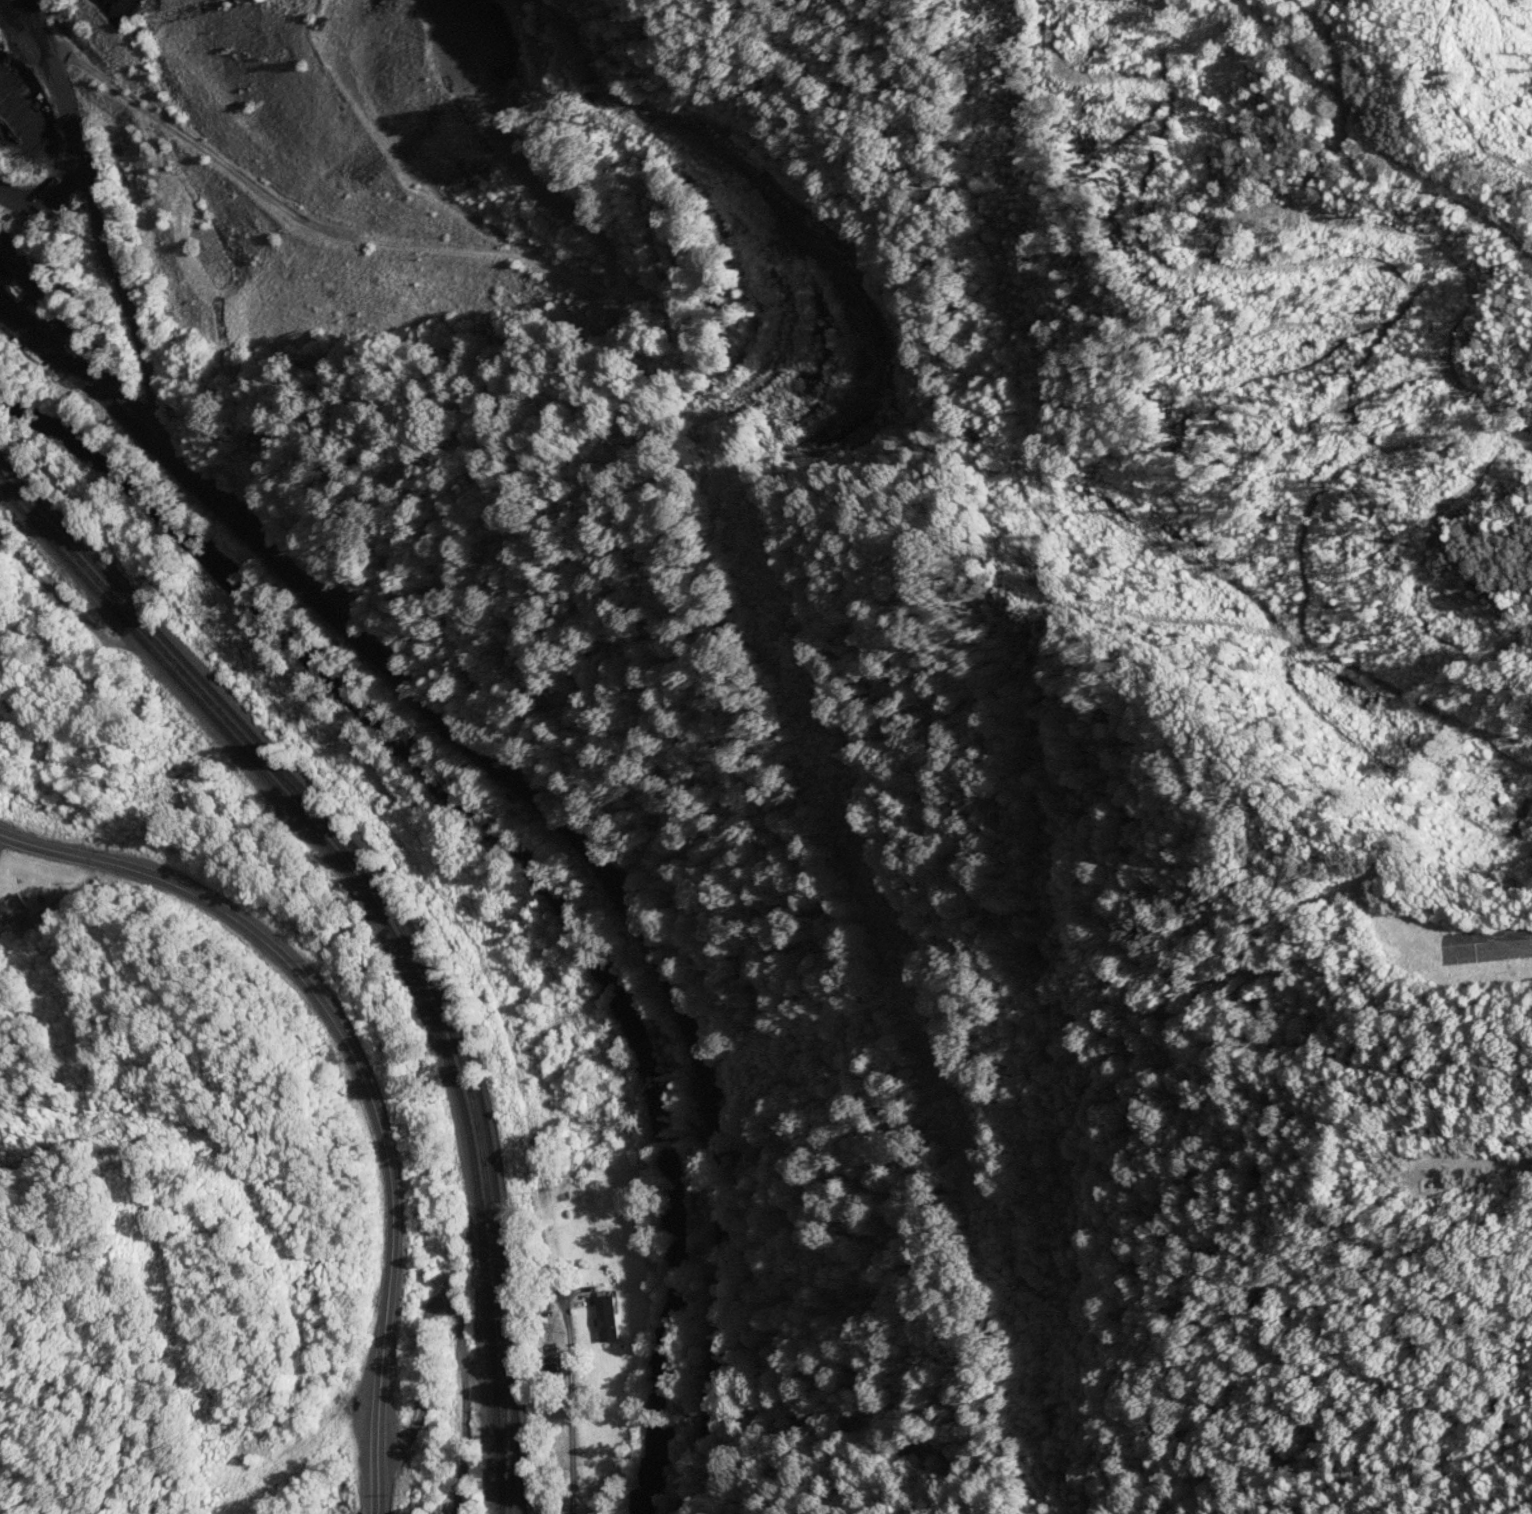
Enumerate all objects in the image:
quarry: (425, 190)
road: (256, 391)
railway: (348, 581)
road: (535, 717)
river: (525, 858)
railway: (393, 915)
railway: (407, 918)
railway: (393, 934)
road: (358, 1070)
road: (457, 1310)
building: (608, 1319)
road: (567, 1451)

